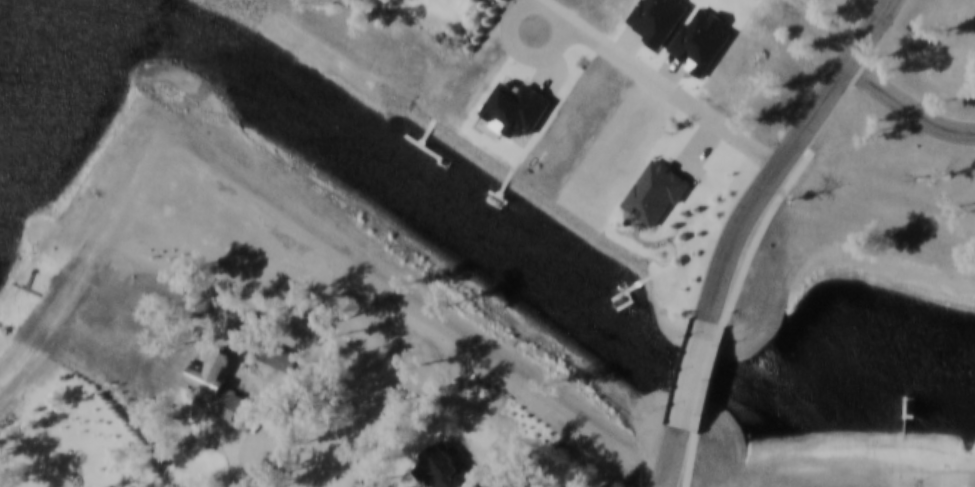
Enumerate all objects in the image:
road: (530, 15)
road: (661, 83)
road: (909, 107)
road: (700, 148)
road: (786, 152)
building: (658, 194)
road: (769, 218)
building: (278, 358)
road: (694, 373)
road: (712, 378)
building: (224, 393)
road: (233, 456)
road: (670, 456)
road: (692, 459)
building: (445, 470)
building: (366, 485)

